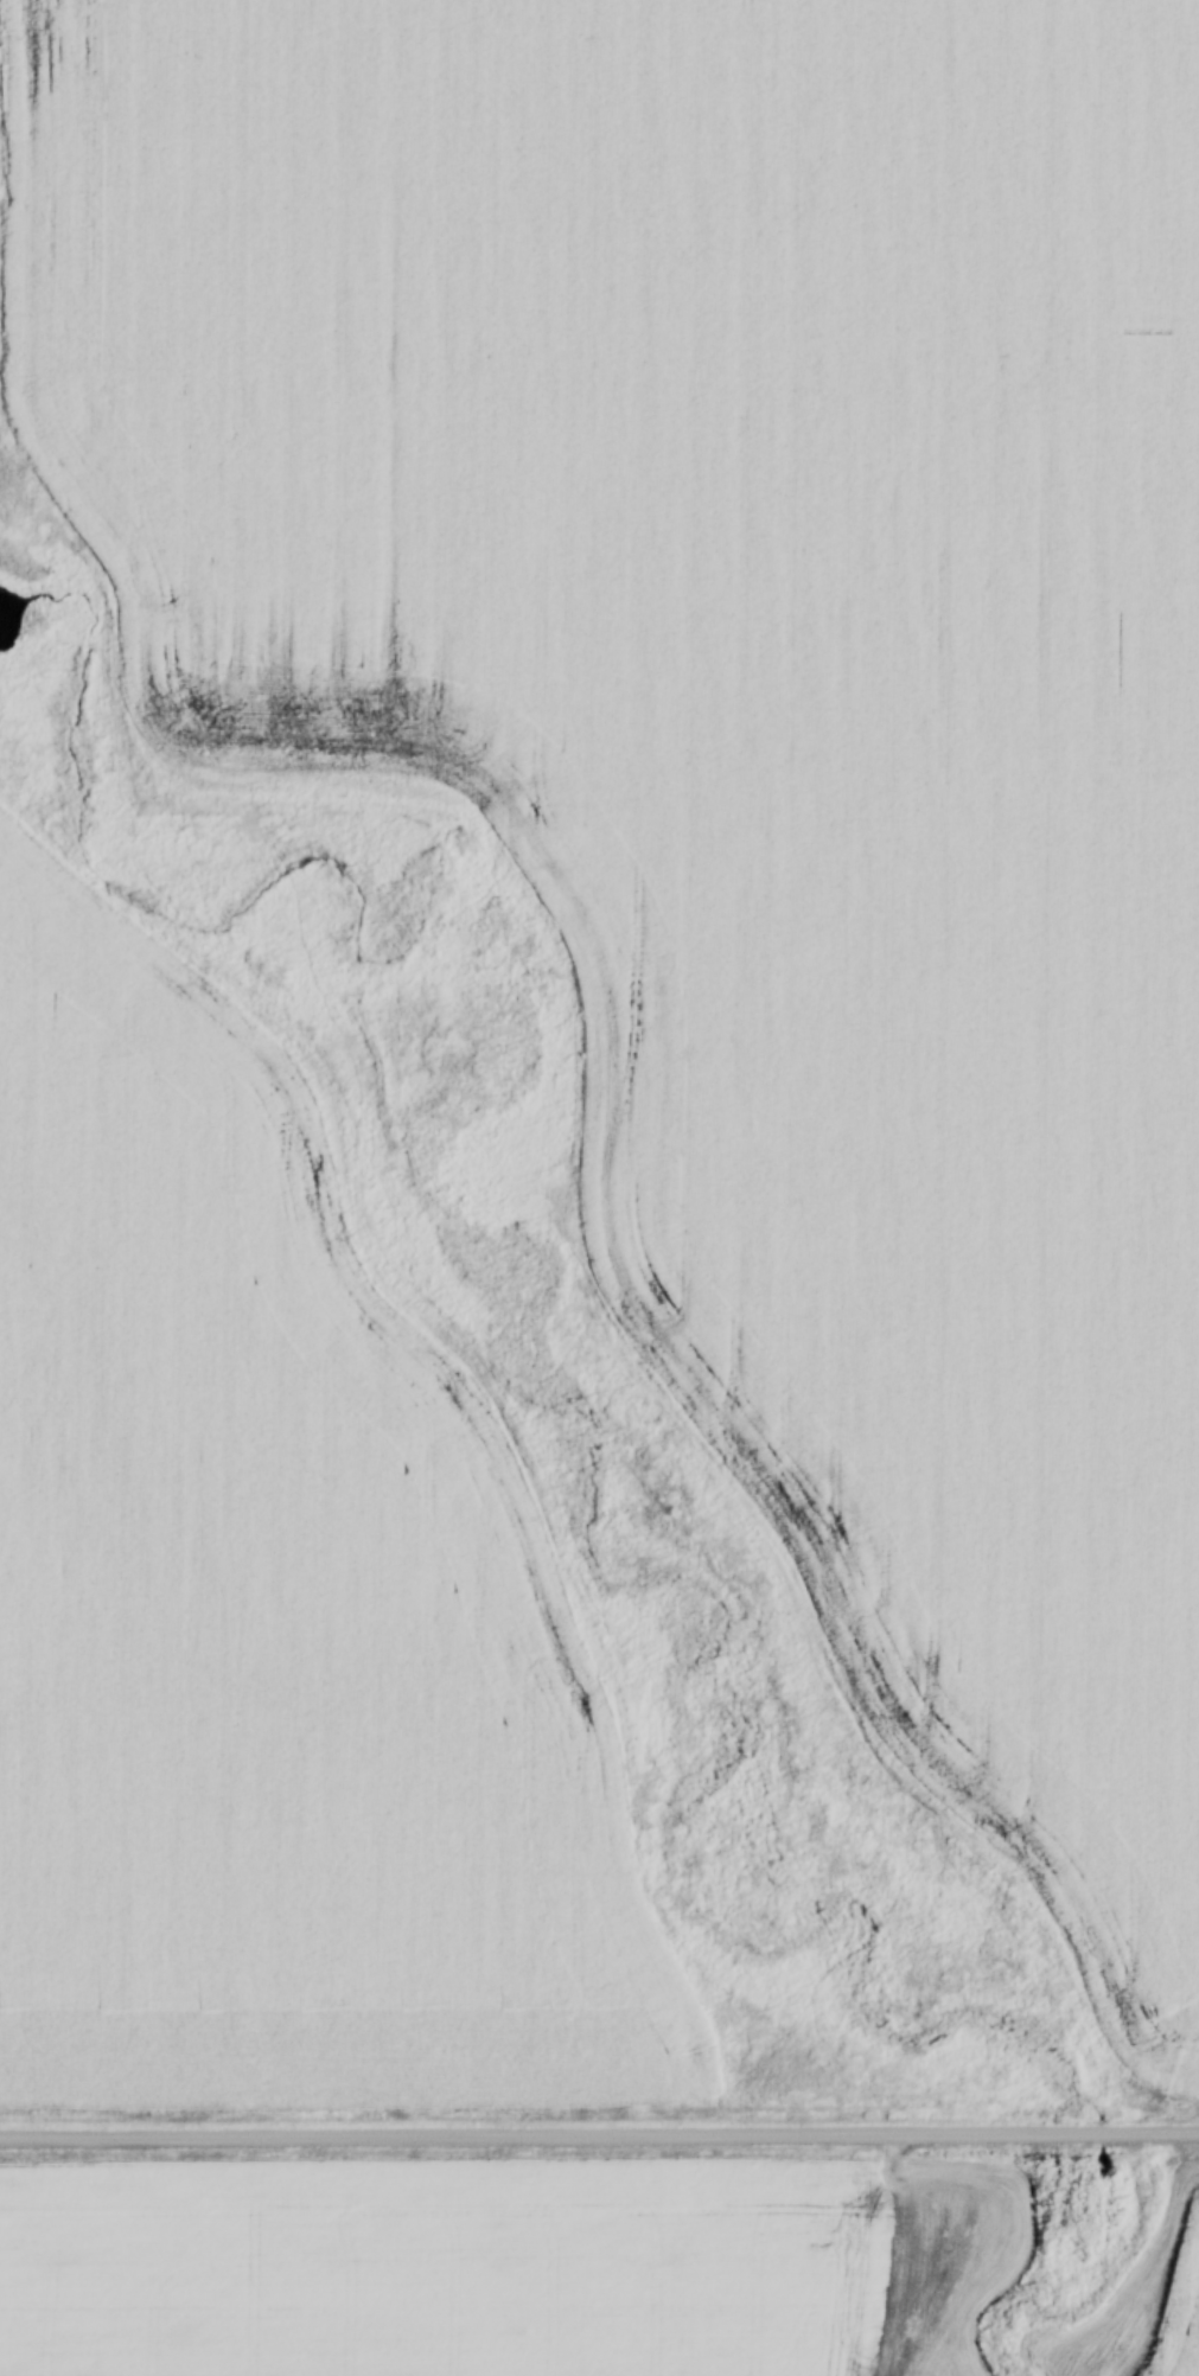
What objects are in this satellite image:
road: (599, 2131)

